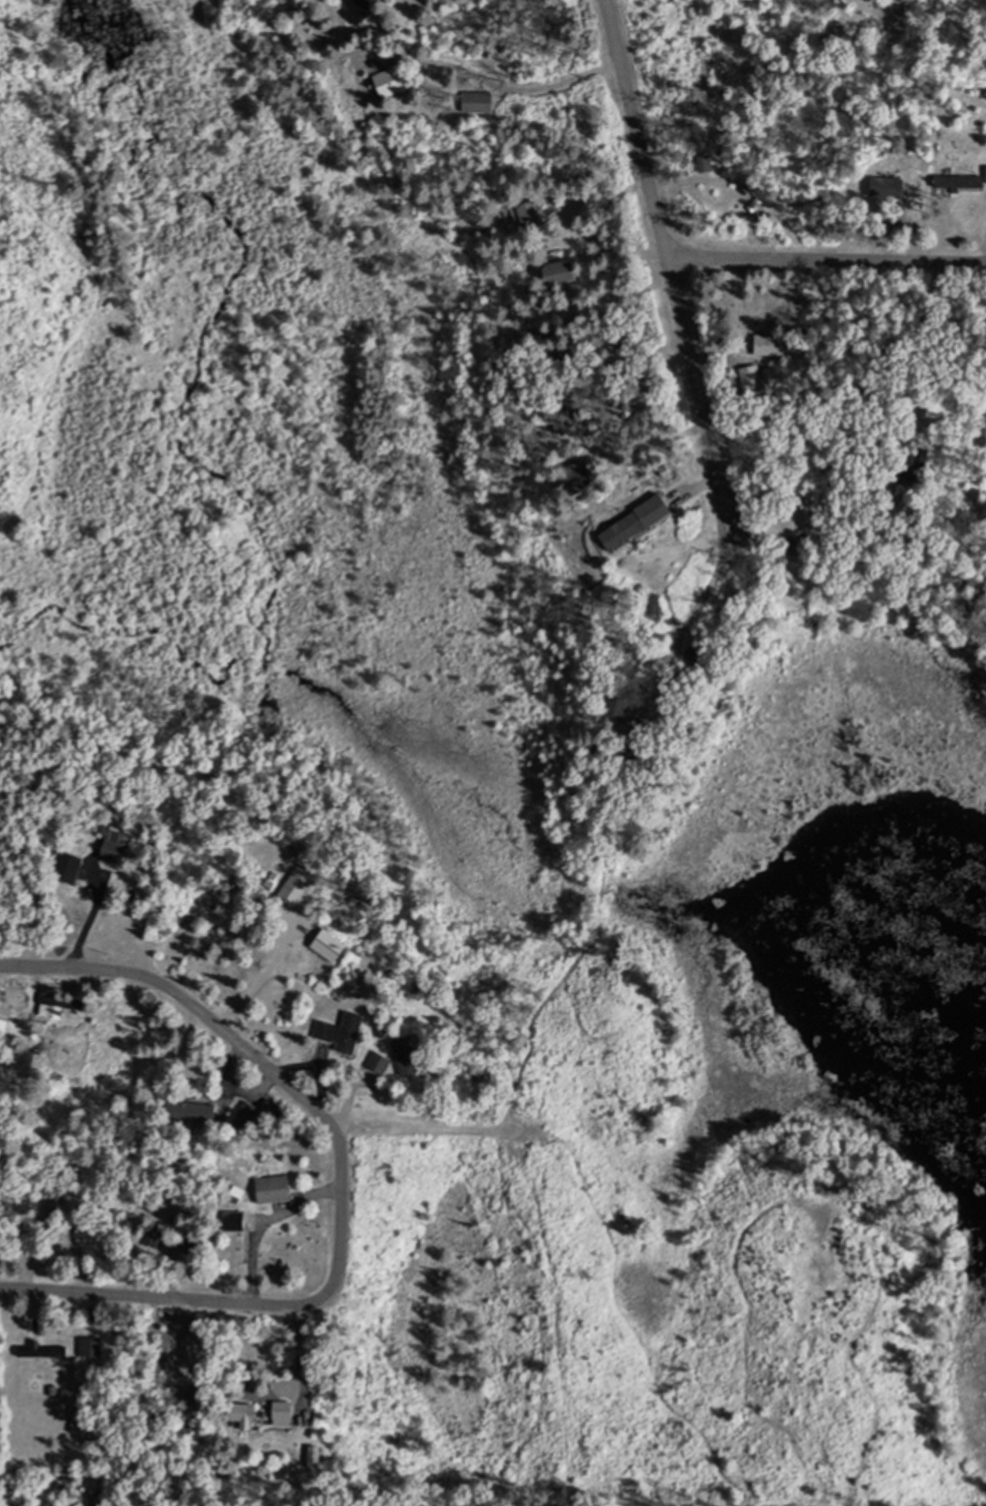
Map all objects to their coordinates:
building: (363, 10)
building: (395, 80)
building: (481, 100)
building: (961, 182)
building: (535, 216)
road: (827, 259)
road: (669, 263)
building: (567, 272)
building: (774, 344)
building: (569, 418)
building: (581, 473)
building: (642, 522)
building: (802, 542)
building: (705, 656)
building: (623, 706)
building: (119, 845)
building: (72, 868)
building: (56, 1007)
building: (5, 1027)
road: (224, 1029)
building: (337, 1033)
building: (196, 1113)
building: (278, 1190)
building: (237, 1221)
building: (30, 1224)
road: (250, 1302)
building: (46, 1351)
building: (245, 1415)
building: (288, 1416)

